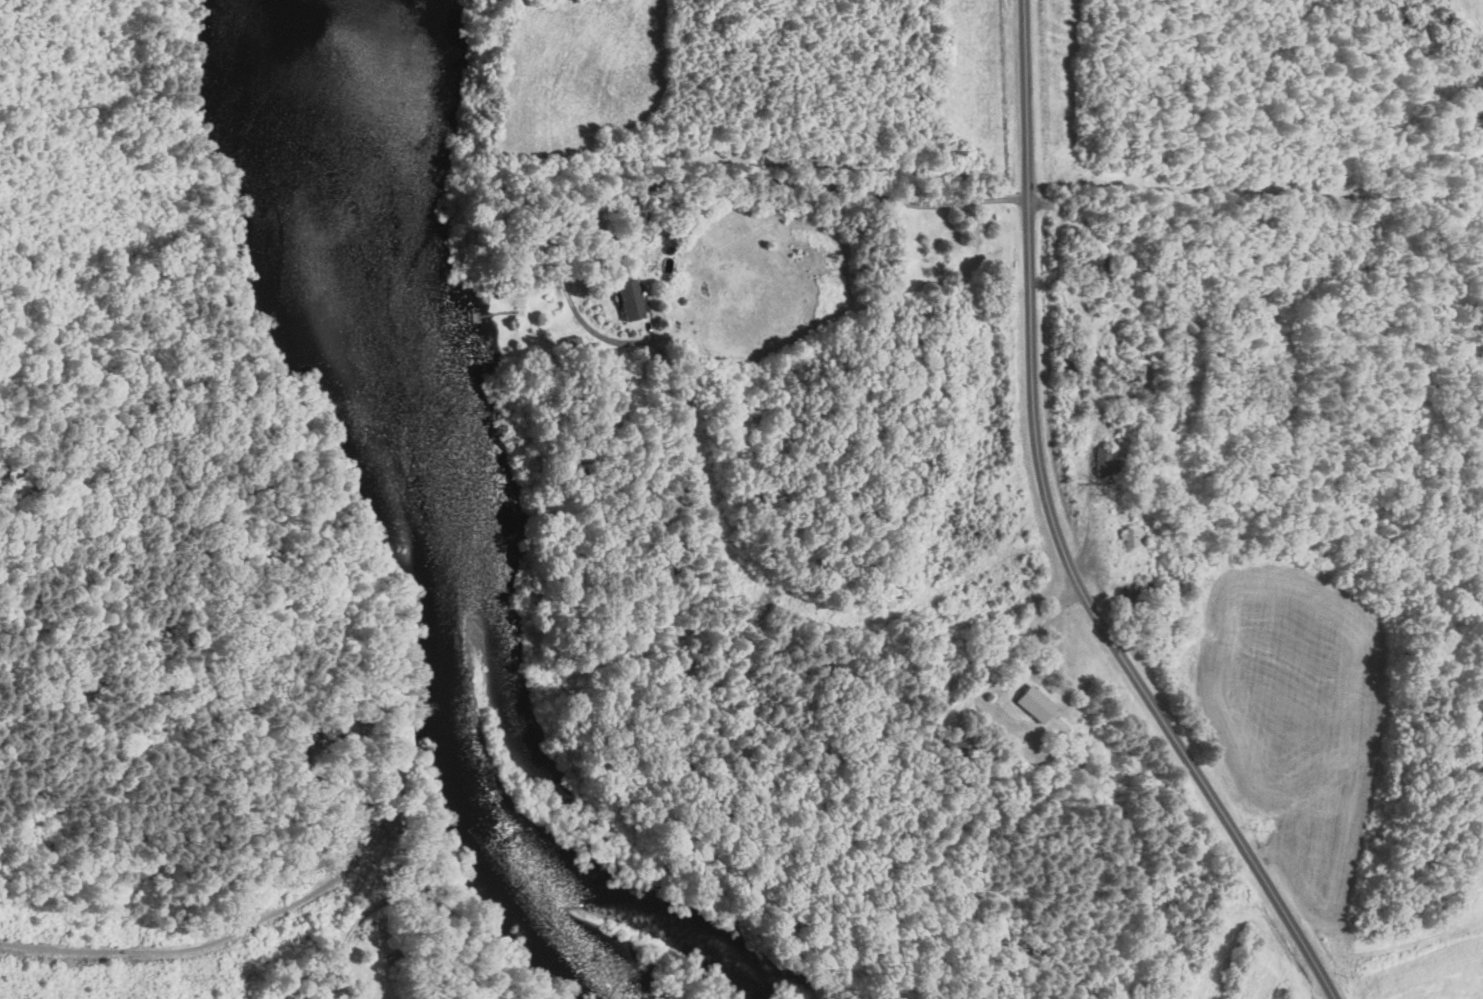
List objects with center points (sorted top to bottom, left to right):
road: (700, 177)
building: (1099, 265)
building: (628, 298)
road: (1059, 536)
building: (1131, 536)
building: (1033, 703)
road: (253, 922)

